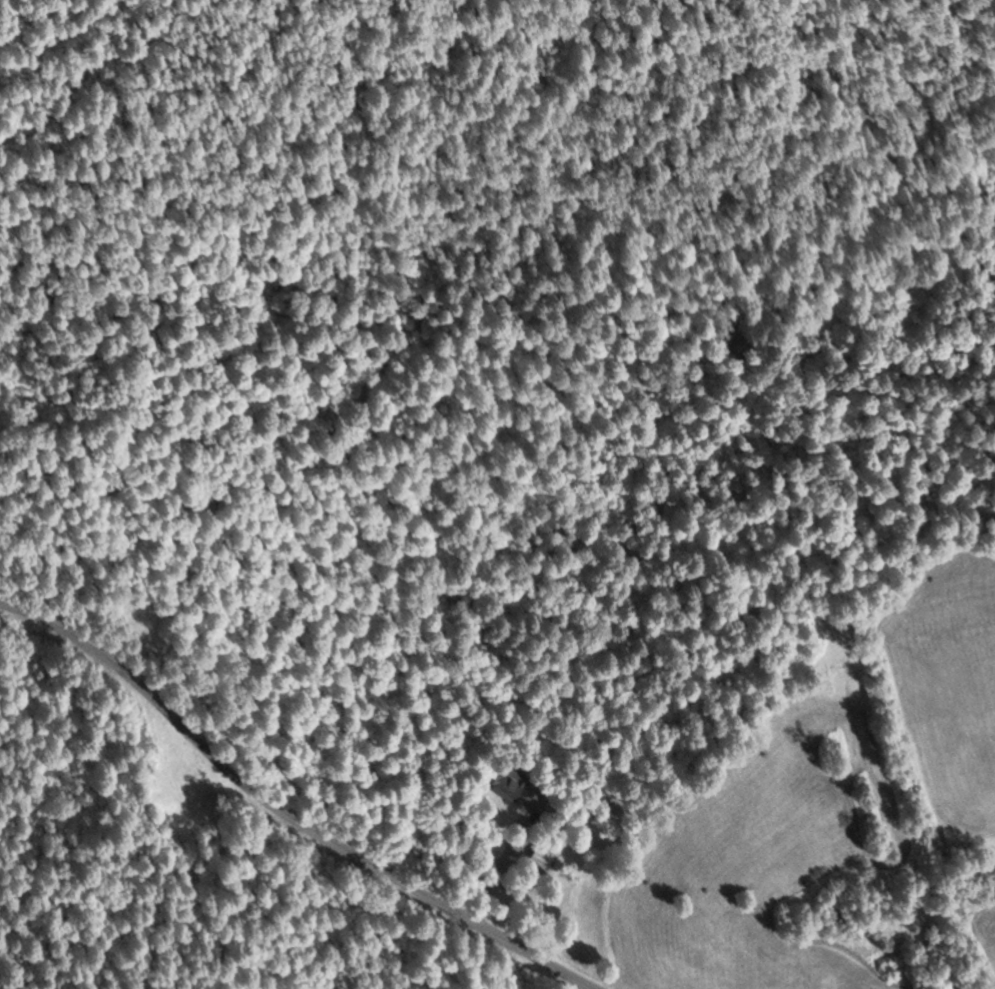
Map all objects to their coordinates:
road: (285, 810)

